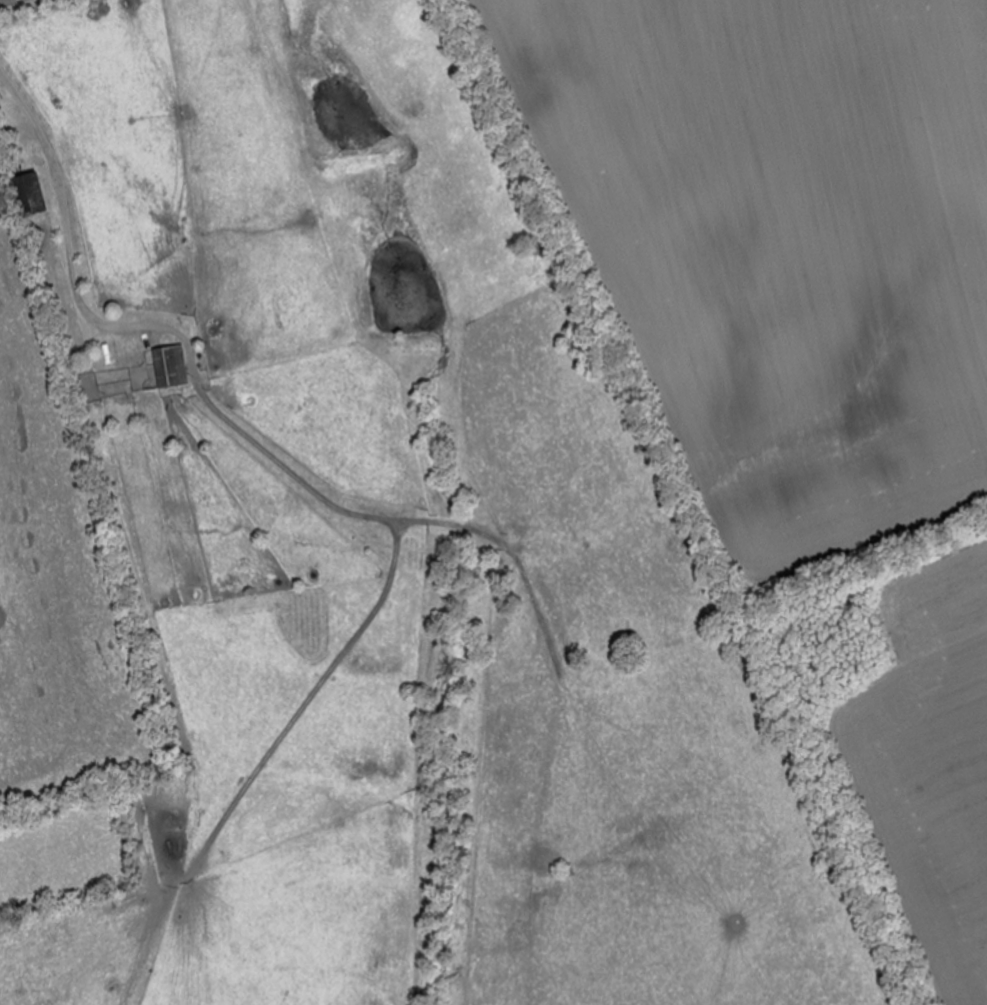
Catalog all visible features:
road: (3, 0)
building: (28, 195)
building: (170, 367)

